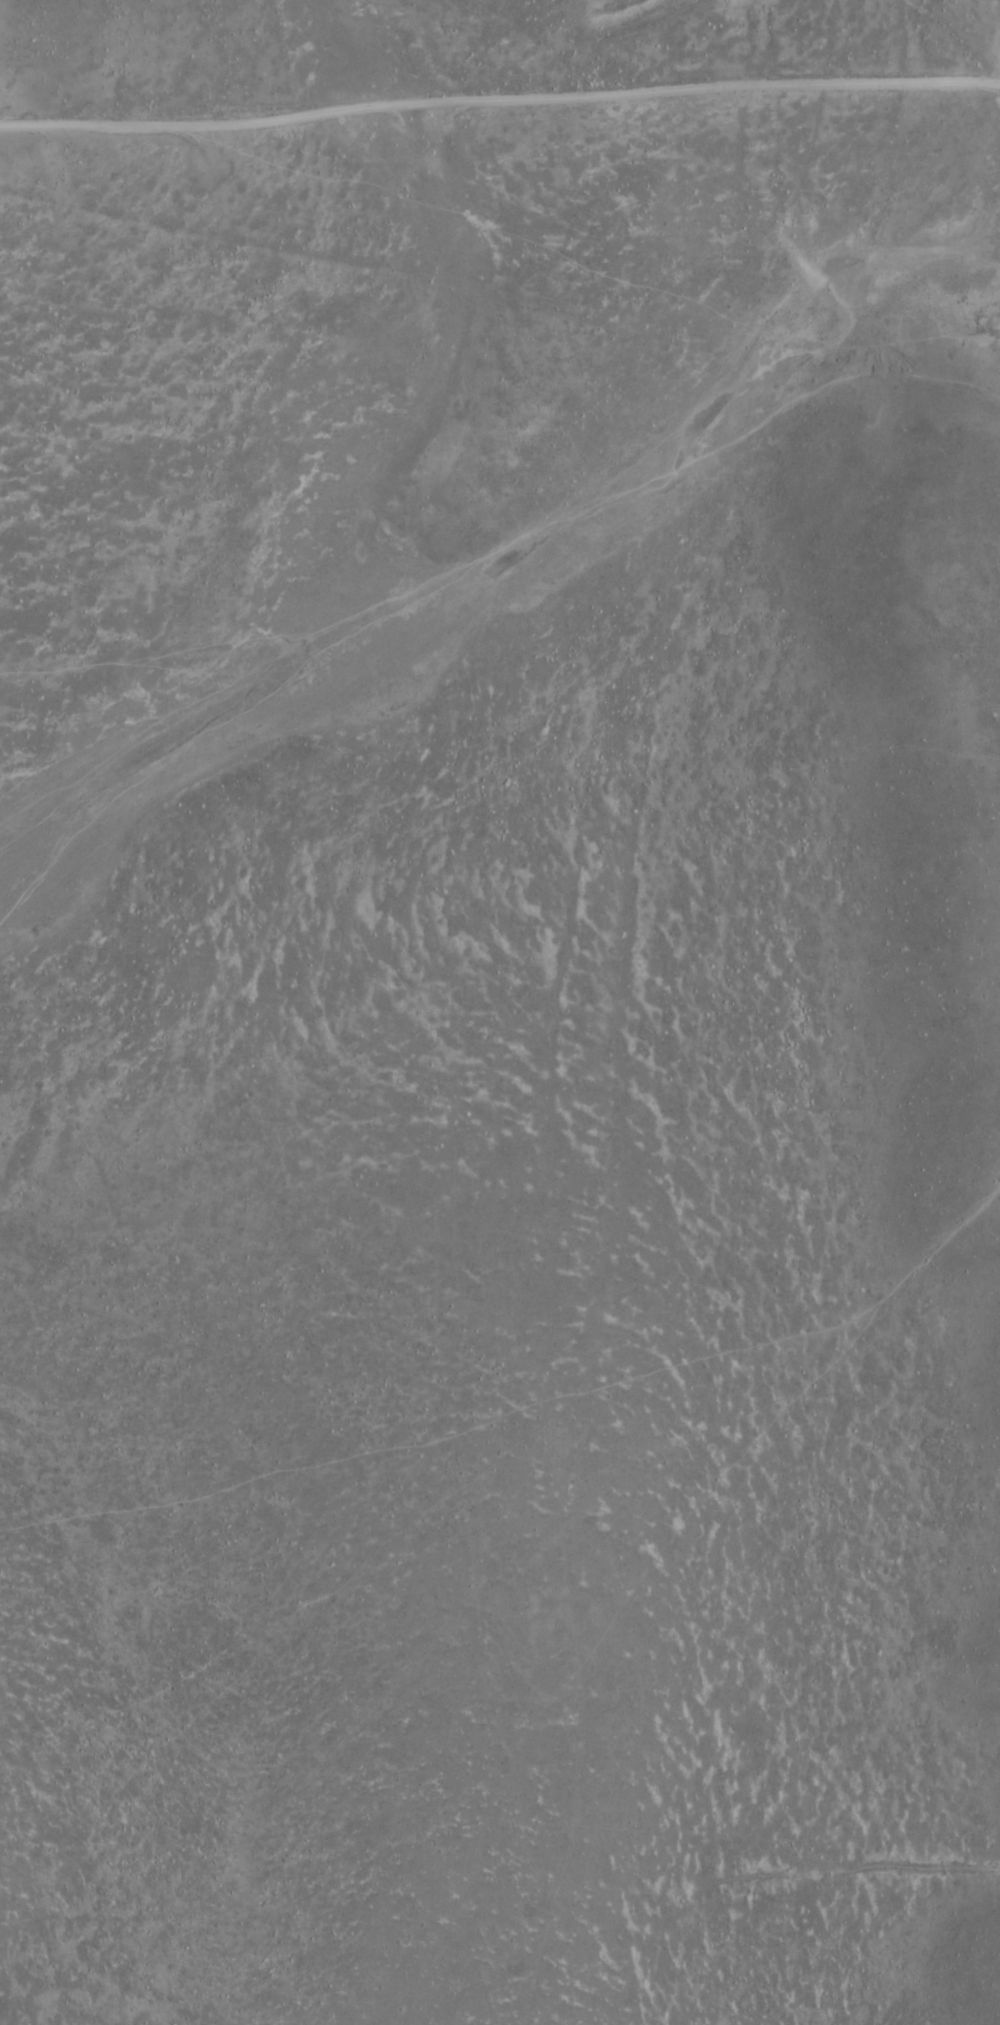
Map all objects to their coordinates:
road: (499, 101)

